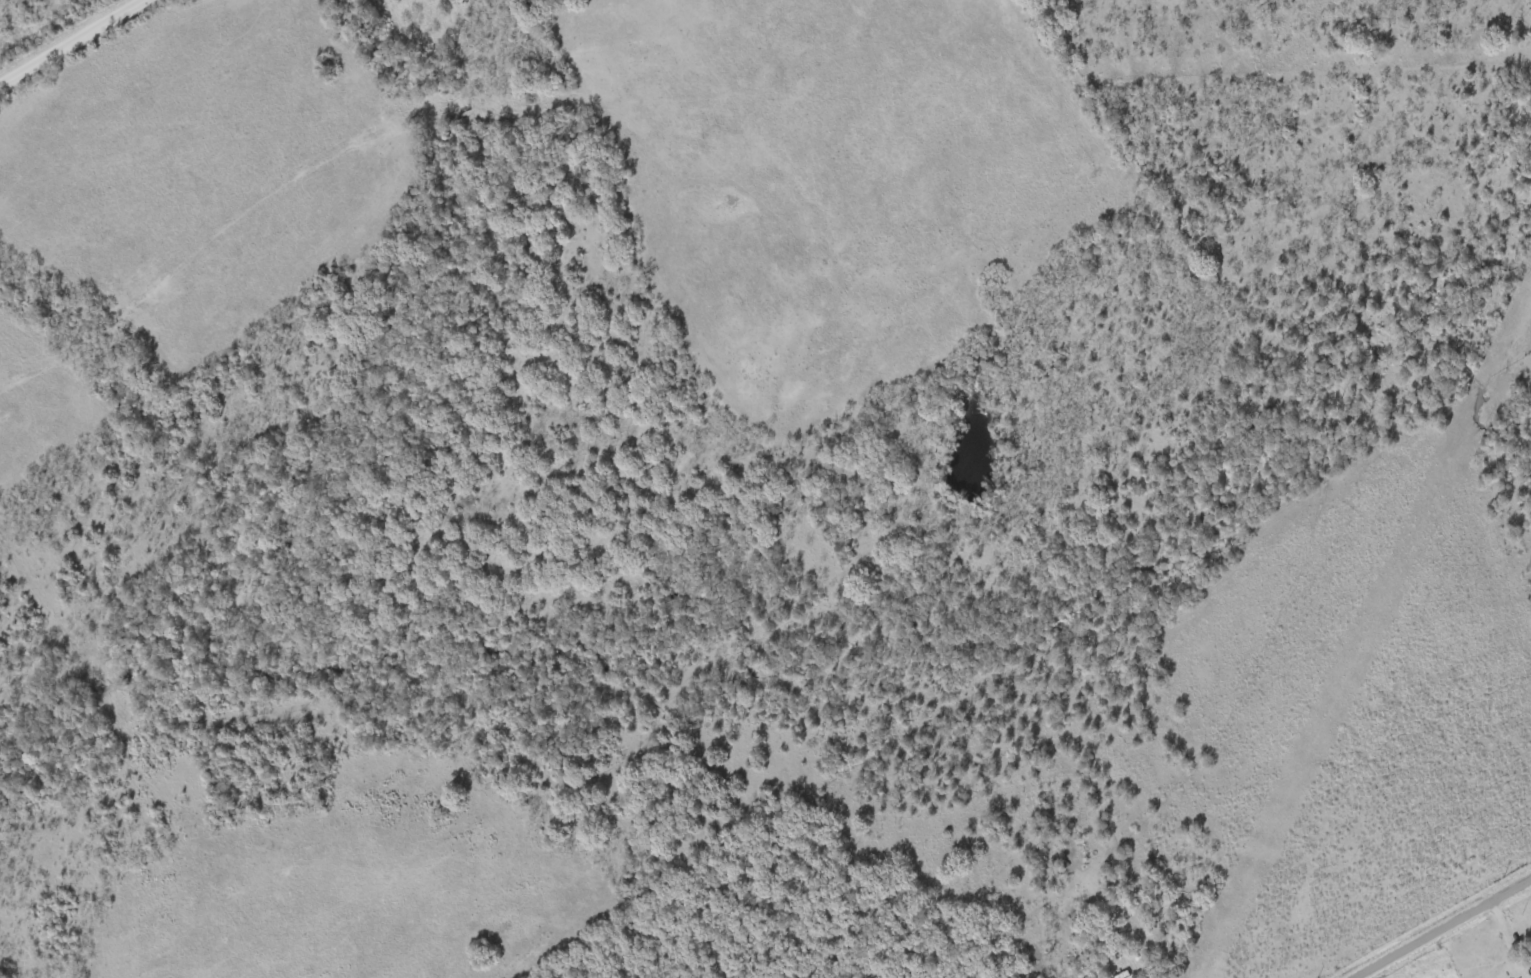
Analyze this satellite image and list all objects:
road: (74, 43)
road: (1446, 931)

